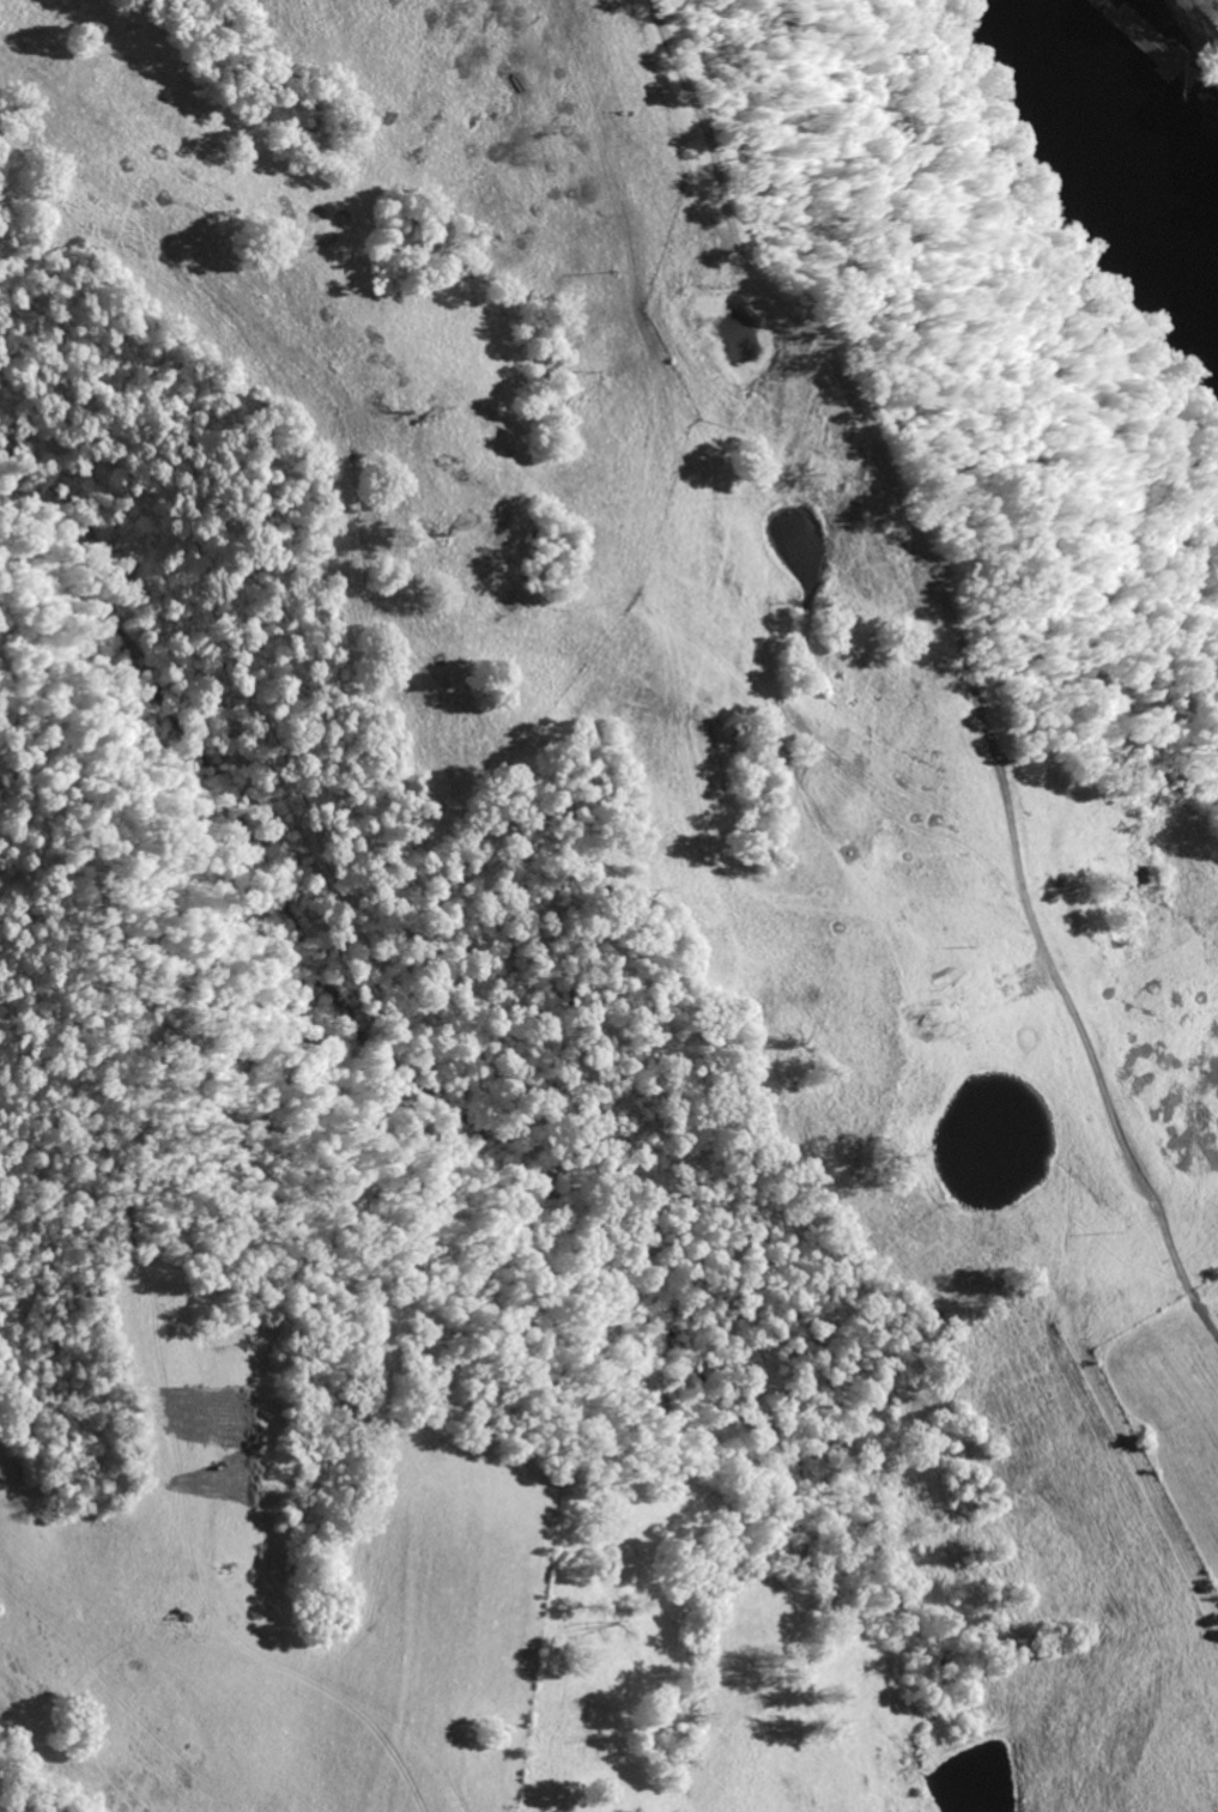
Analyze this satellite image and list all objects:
river: (1168, 92)

